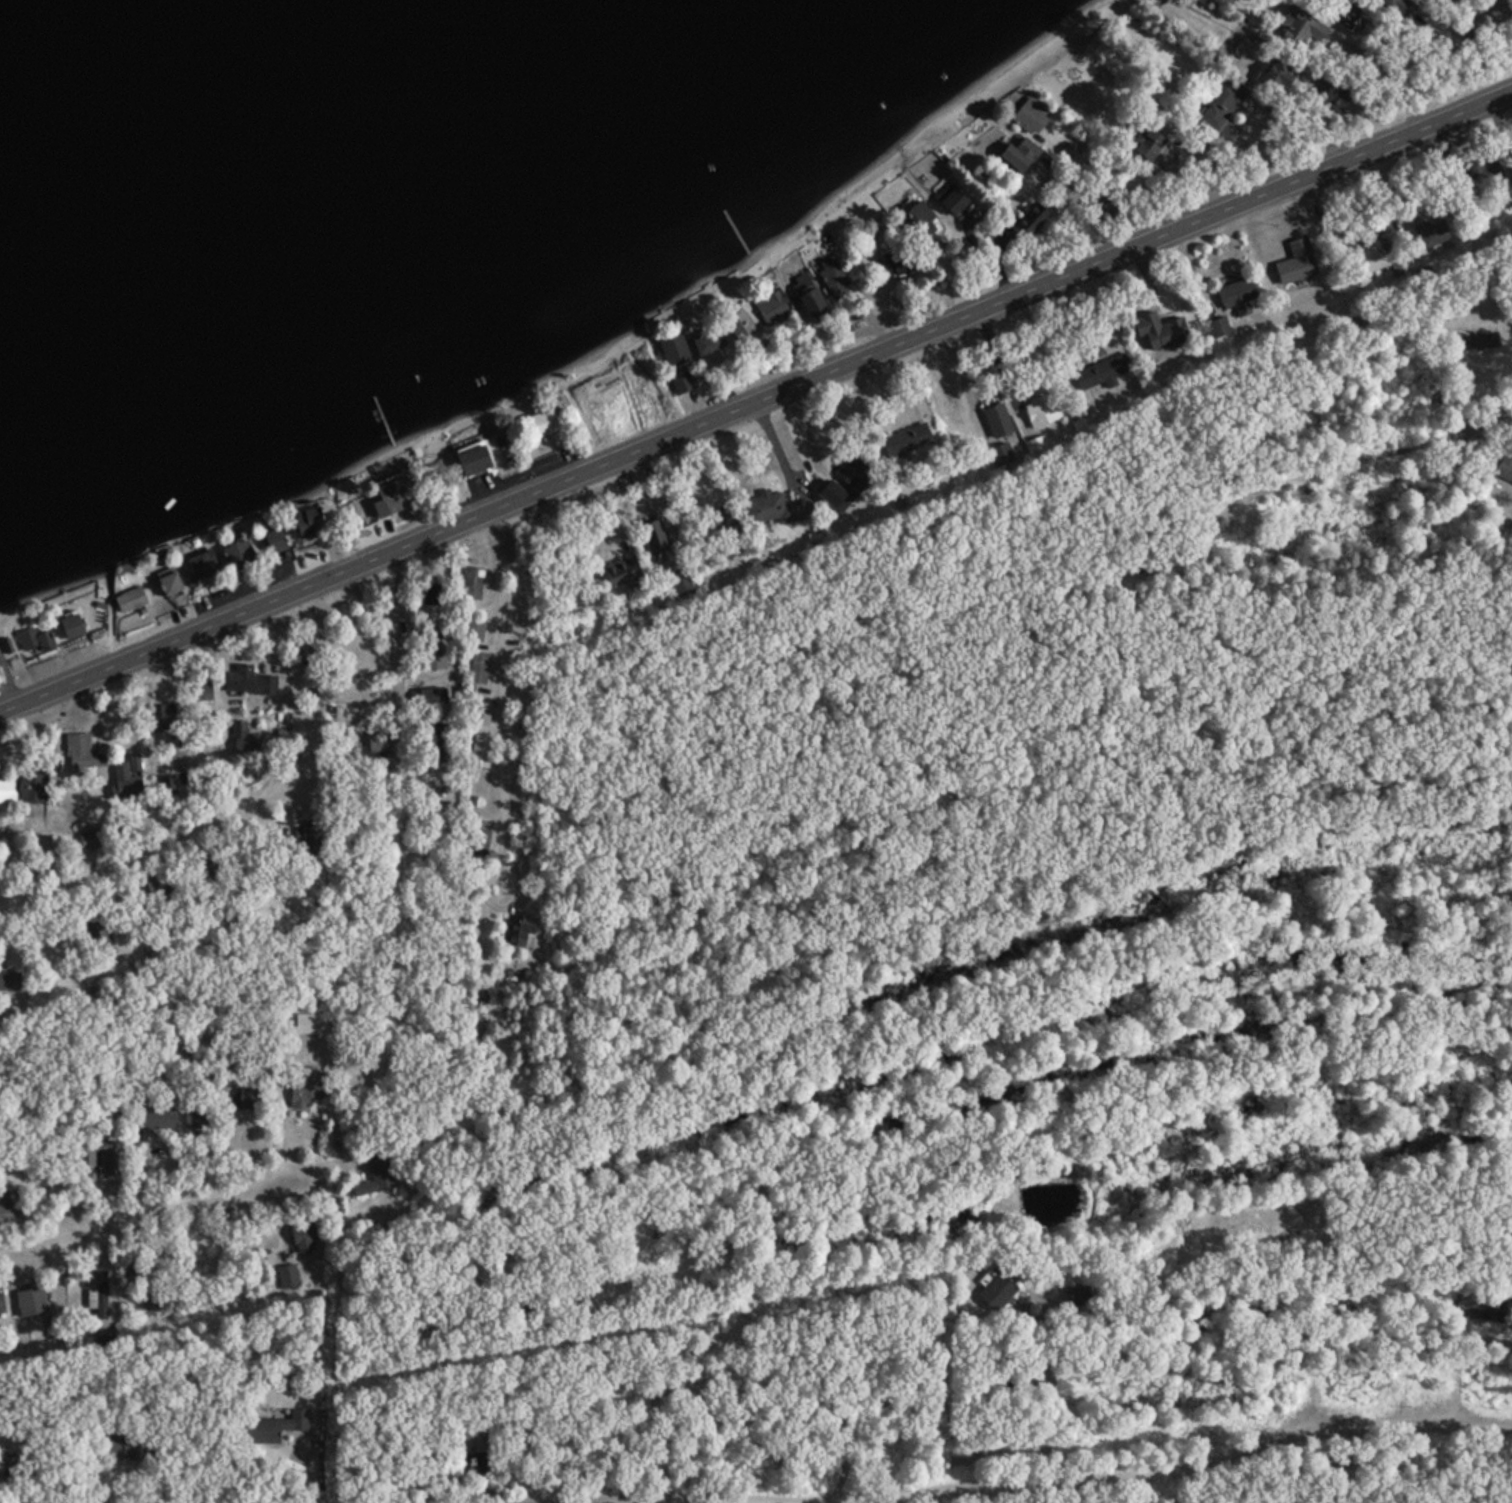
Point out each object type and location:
building: (1302, 27)
building: (1275, 73)
building: (1336, 98)
building: (1220, 108)
building: (1029, 118)
building: (1145, 146)
building: (1016, 158)
building: (1485, 176)
building: (950, 201)
building: (1104, 205)
building: (916, 219)
building: (1031, 221)
building: (1430, 234)
building: (1367, 261)
building: (895, 262)
building: (1295, 264)
building: (831, 276)
building: (1235, 294)
building: (813, 308)
building: (771, 309)
road: (877, 315)
building: (739, 327)
building: (1218, 330)
building: (1158, 332)
building: (1478, 344)
building: (706, 345)
building: (673, 352)
building: (1101, 373)
building: (680, 384)
road: (755, 402)
building: (1040, 412)
building: (996, 422)
building: (540, 425)
building: (907, 444)
building: (473, 460)
building: (1504, 468)
building: (850, 470)
building: (389, 499)
building: (778, 509)
building: (306, 522)
building: (654, 538)
building: (273, 543)
building: (236, 556)
building: (201, 567)
building: (622, 572)
building: (168, 585)
building: (470, 585)
building: (431, 595)
building: (129, 602)
building: (69, 629)
building: (474, 631)
building: (34, 642)
building: (304, 652)
building: (434, 660)
road: (393, 666)
building: (478, 669)
building: (248, 682)
building: (200, 694)
building: (430, 697)
building: (481, 715)
building: (160, 717)
road: (499, 719)
building: (241, 739)
building: (435, 740)
building: (479, 752)
building: (81, 755)
building: (30, 788)
building: (6, 791)
building: (90, 840)
building: (311, 843)
building: (478, 844)
building: (48, 847)
road: (149, 850)
building: (516, 932)
building: (96, 936)
building: (9, 983)
building: (309, 1025)
building: (307, 1088)
building: (247, 1099)
building: (155, 1119)
building: (193, 1119)
building: (106, 1164)
building: (376, 1176)
road: (169, 1196)
building: (9, 1207)
building: (302, 1238)
building: (287, 1277)
building: (992, 1292)
building: (98, 1297)
building: (29, 1303)
building: (0, 1306)
road: (333, 1329)
building: (1495, 1342)
building: (276, 1429)
building: (126, 1447)
building: (479, 1450)
building: (1, 1456)
road: (1017, 1483)

